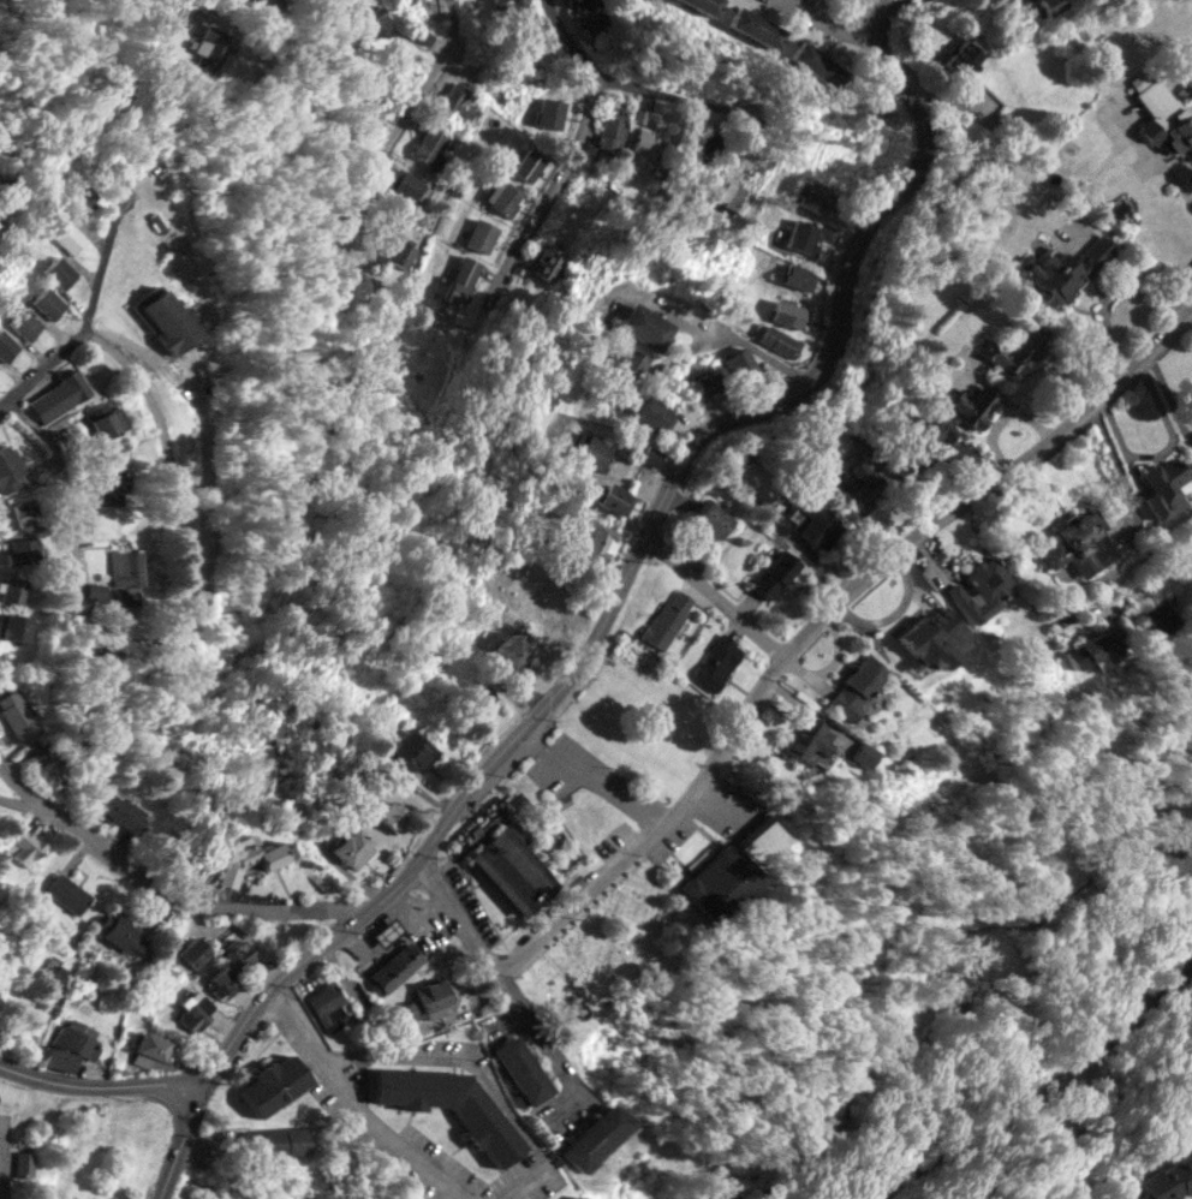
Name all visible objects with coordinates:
road: (883, 1)
building: (499, 4)
building: (704, 5)
building: (1050, 5)
building: (589, 14)
building: (376, 19)
road: (832, 24)
building: (753, 26)
building: (195, 35)
building: (211, 48)
building: (964, 54)
building: (816, 65)
road: (619, 83)
building: (453, 103)
building: (549, 112)
building: (1163, 117)
building: (612, 127)
building: (429, 145)
building: (639, 151)
building: (529, 165)
building: (405, 184)
road: (344, 191)
building: (810, 195)
building: (503, 196)
building: (81, 201)
road: (540, 207)
building: (481, 234)
building: (803, 235)
building: (68, 237)
building: (403, 250)
building: (544, 263)
building: (59, 270)
building: (1063, 272)
building: (798, 276)
building: (460, 280)
building: (48, 303)
building: (789, 314)
road: (87, 317)
building: (162, 318)
building: (24, 323)
building: (645, 326)
building: (775, 339)
building: (6, 345)
building: (1014, 347)
building: (739, 363)
building: (628, 365)
building: (703, 382)
building: (59, 395)
building: (970, 406)
building: (652, 412)
building: (106, 417)
building: (922, 441)
building: (594, 451)
road: (168, 455)
building: (650, 455)
building: (8, 470)
building: (111, 483)
building: (860, 484)
building: (1164, 487)
building: (613, 497)
building: (14, 514)
building: (710, 518)
building: (815, 523)
building: (598, 542)
building: (1078, 544)
building: (22, 550)
road: (638, 554)
road: (73, 568)
building: (773, 573)
building: (124, 577)
road: (1149, 578)
building: (982, 587)
building: (11, 589)
building: (89, 590)
road: (717, 596)
building: (930, 604)
building: (667, 618)
building: (1158, 618)
building: (12, 626)
building: (929, 639)
building: (1090, 650)
building: (512, 652)
building: (716, 662)
road: (780, 666)
building: (856, 687)
building: (479, 698)
building: (17, 715)
building: (806, 740)
building: (415, 750)
building: (860, 753)
road: (608, 787)
road: (719, 801)
building: (119, 811)
building: (388, 813)
building: (23, 846)
building: (352, 848)
building: (734, 865)
building: (511, 870)
building: (226, 876)
road: (163, 891)
building: (67, 893)
building: (123, 935)
building: (239, 953)
building: (192, 954)
park: (615, 965)
building: (394, 967)
building: (52, 974)
building: (222, 982)
building: (434, 997)
park: (1062, 997)
road: (359, 1001)
building: (327, 1004)
building: (193, 1009)
building: (78, 1038)
building: (148, 1048)
building: (56, 1057)
road: (358, 1057)
road: (440, 1060)
building: (520, 1069)
road: (101, 1084)
building: (272, 1084)
road: (1044, 1088)
building: (448, 1104)
road: (354, 1105)
building: (591, 1135)
road: (184, 1138)
building: (273, 1140)
road: (535, 1141)
building: (20, 1162)
building: (1168, 1179)
building: (574, 1197)

